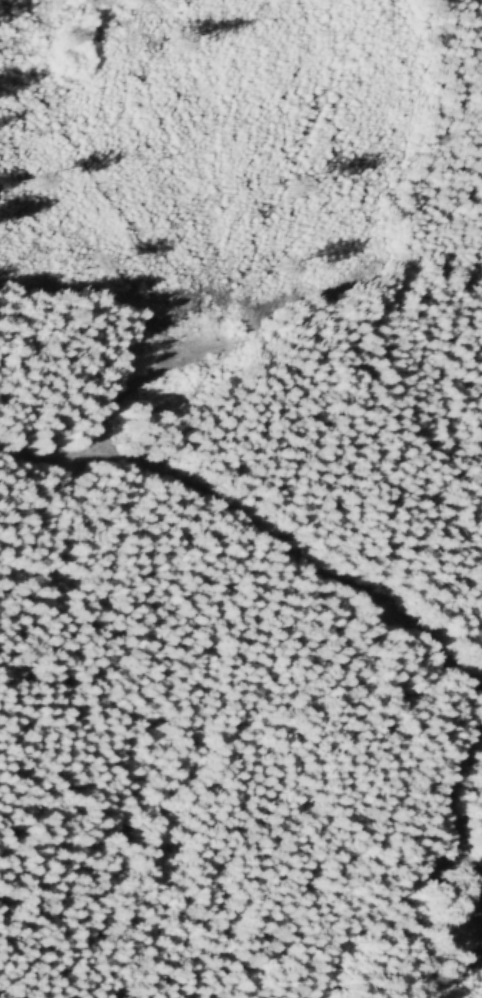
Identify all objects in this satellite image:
road: (136, 382)
road: (260, 526)
road: (456, 806)

